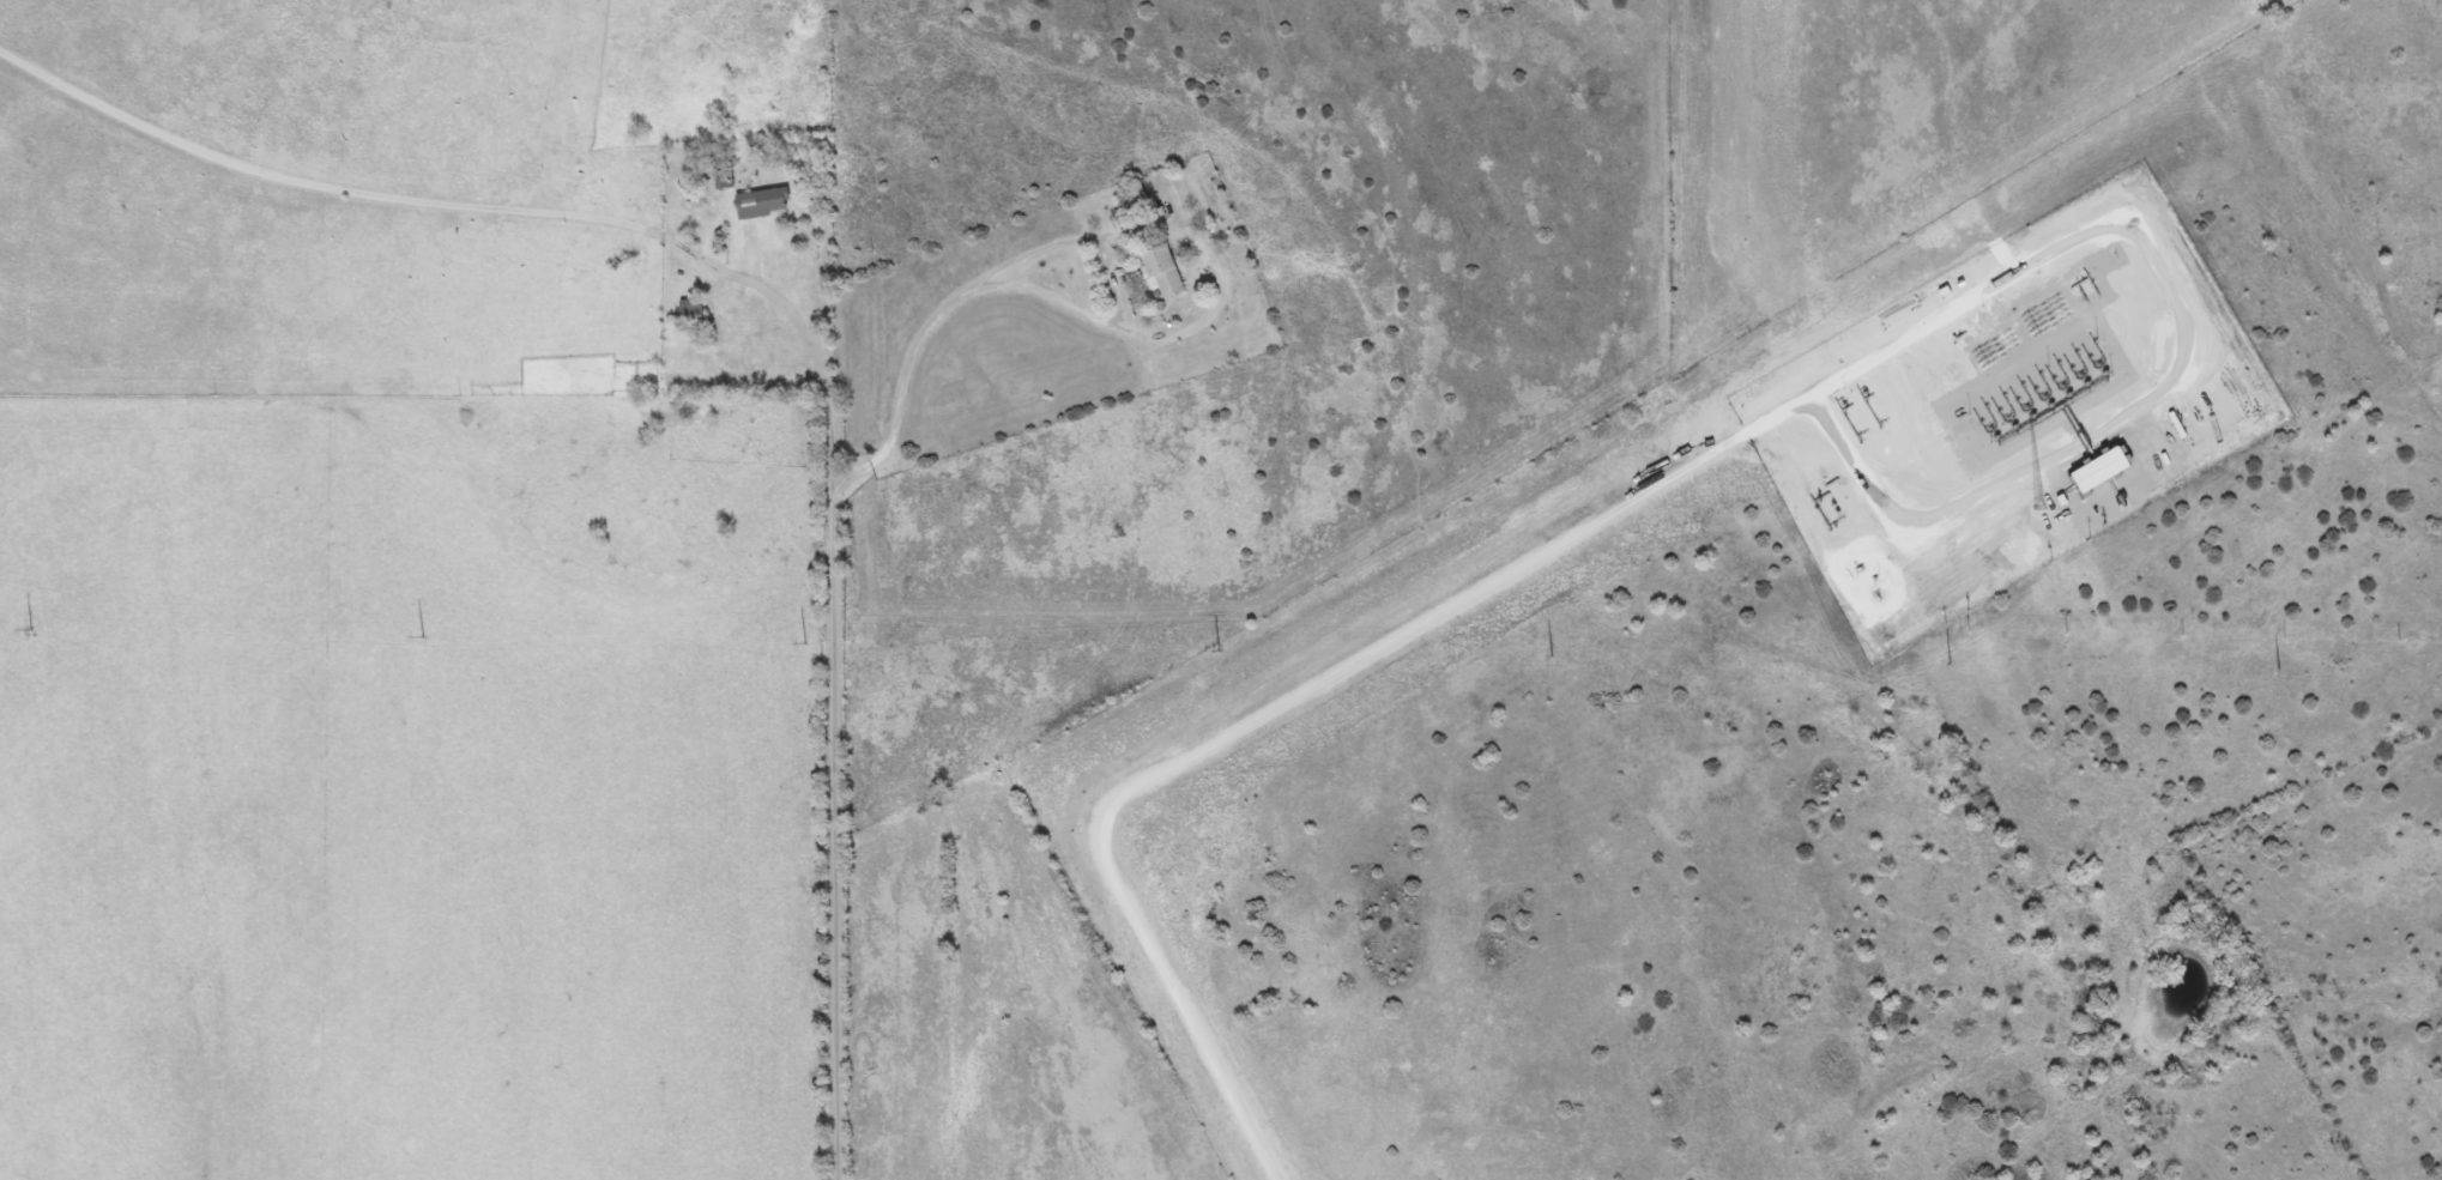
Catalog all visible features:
building: (755, 201)
building: (1155, 268)
road: (772, 292)
road: (925, 325)
road: (836, 791)

